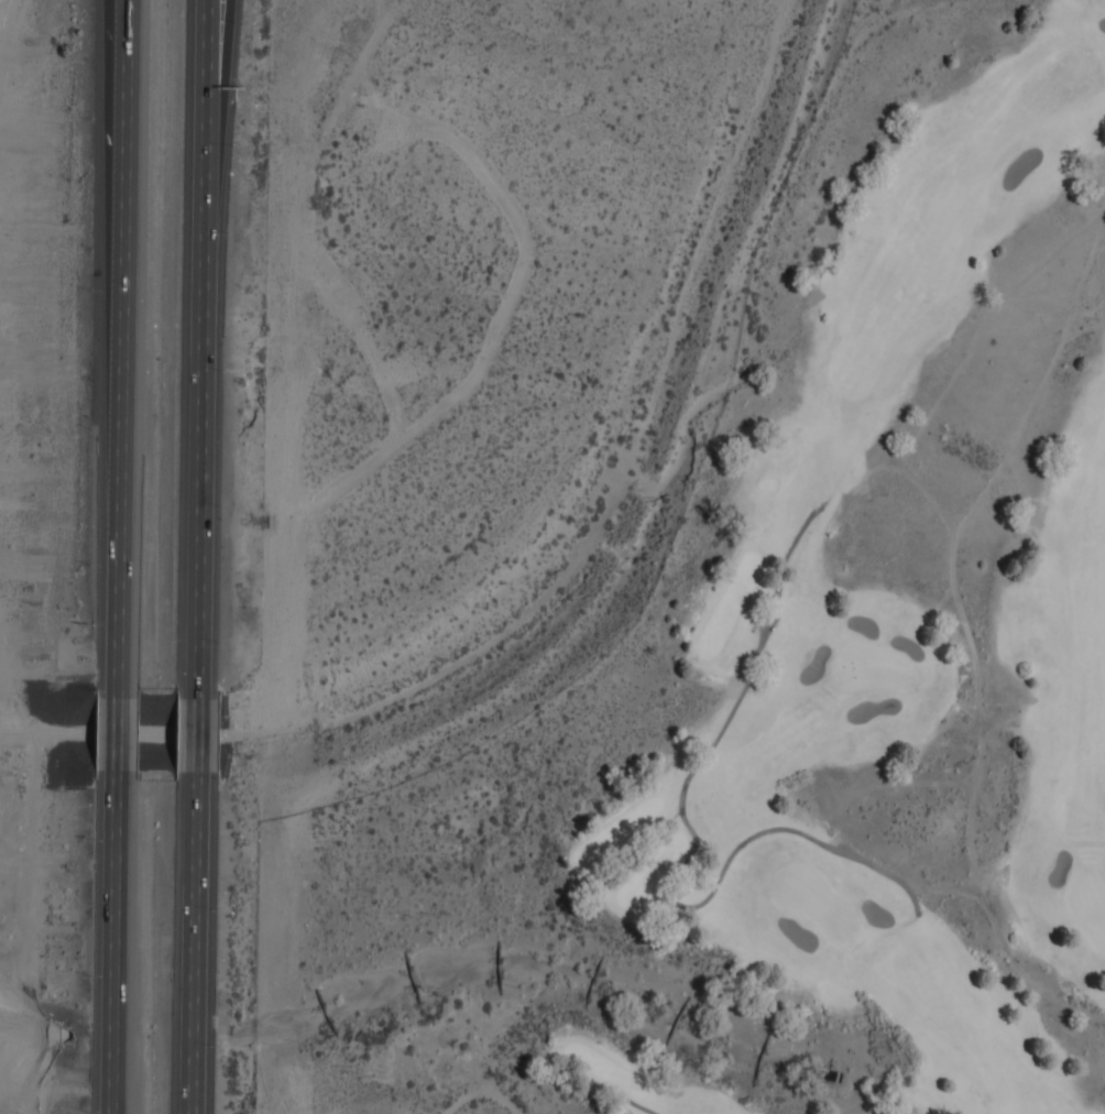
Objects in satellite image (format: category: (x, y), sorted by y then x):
road: (125, 28)
road: (225, 63)
road: (122, 349)
road: (215, 349)
park: (789, 682)
railway: (113, 731)
road: (117, 735)
road: (207, 735)
road: (111, 942)
road: (201, 942)
road: (616, 1094)

